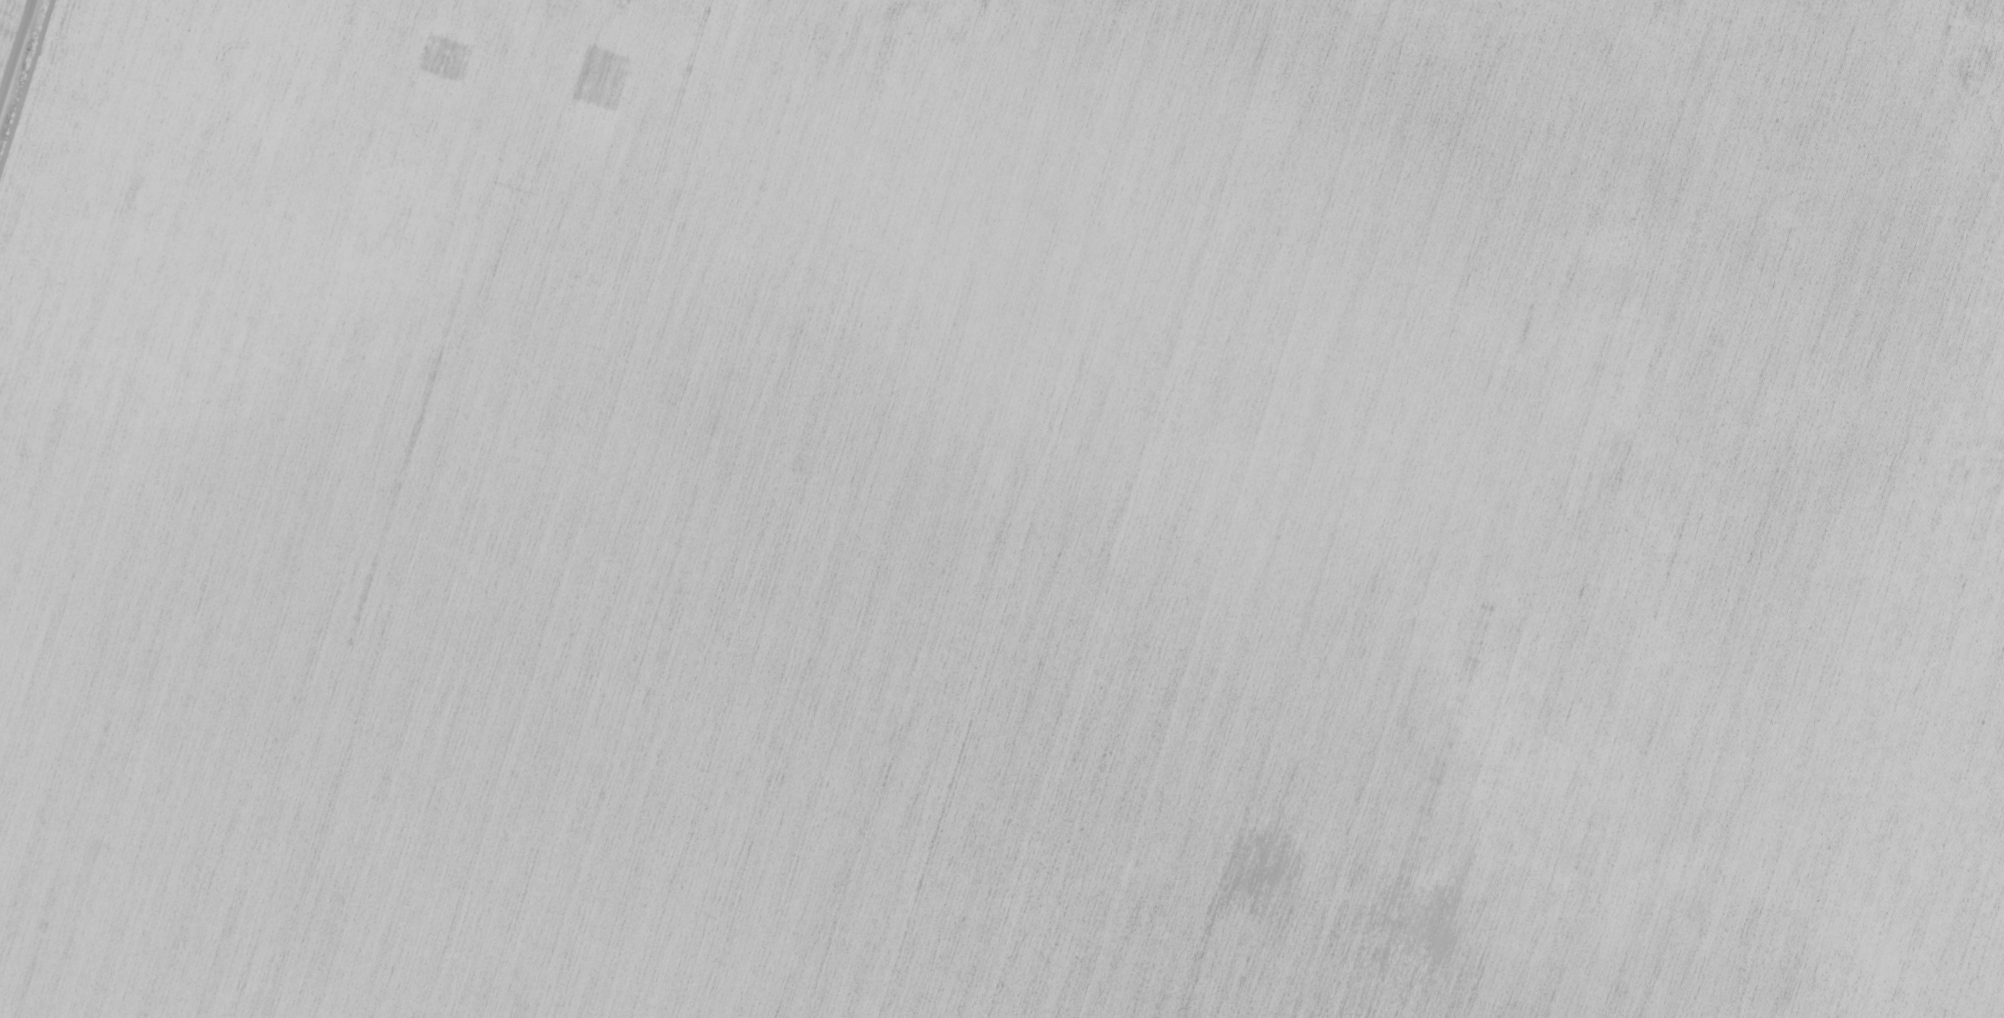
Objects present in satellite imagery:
road: (32, 107)

